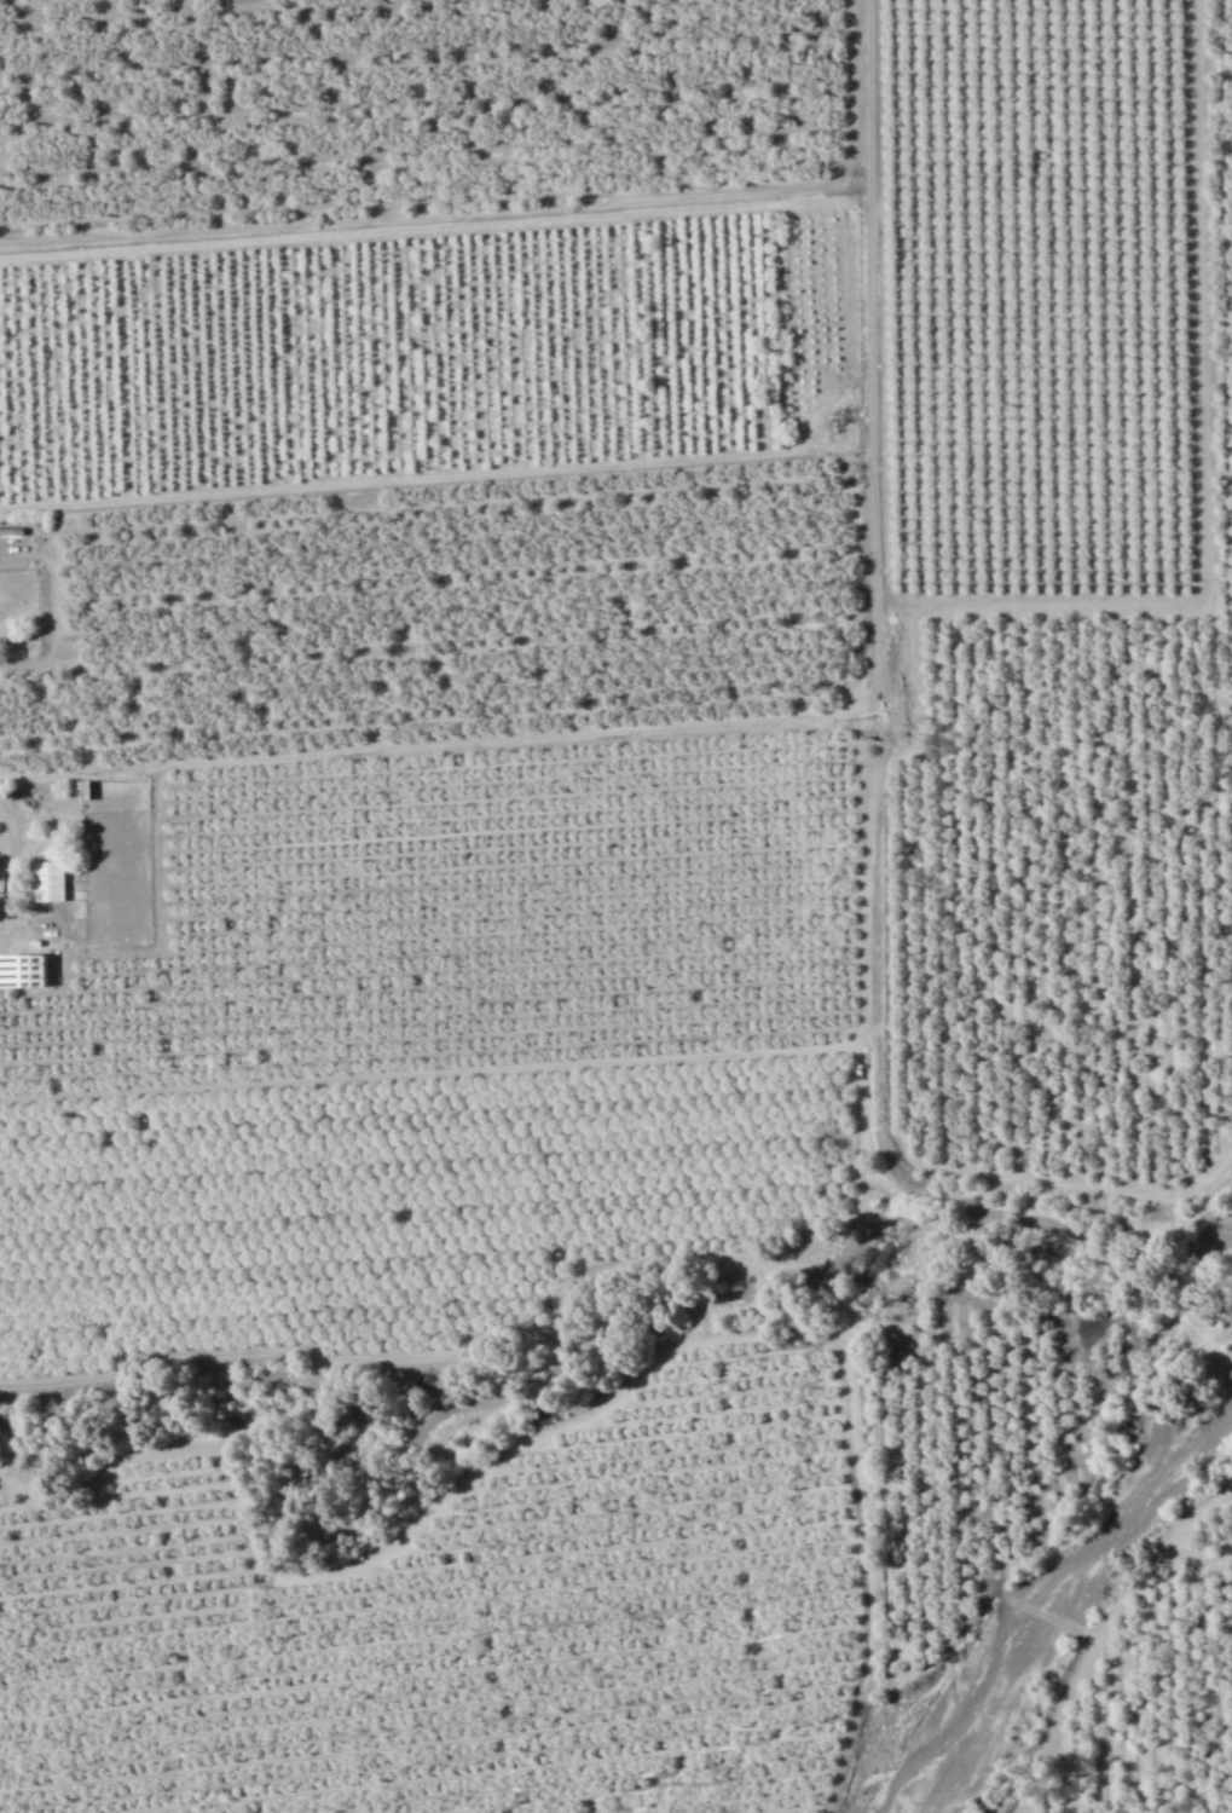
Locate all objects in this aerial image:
road: (1201, 462)
road: (783, 723)
building: (81, 789)
road: (11, 862)
building: (46, 880)
road: (898, 1049)
road: (623, 1059)
road: (538, 1339)
road: (548, 1431)

